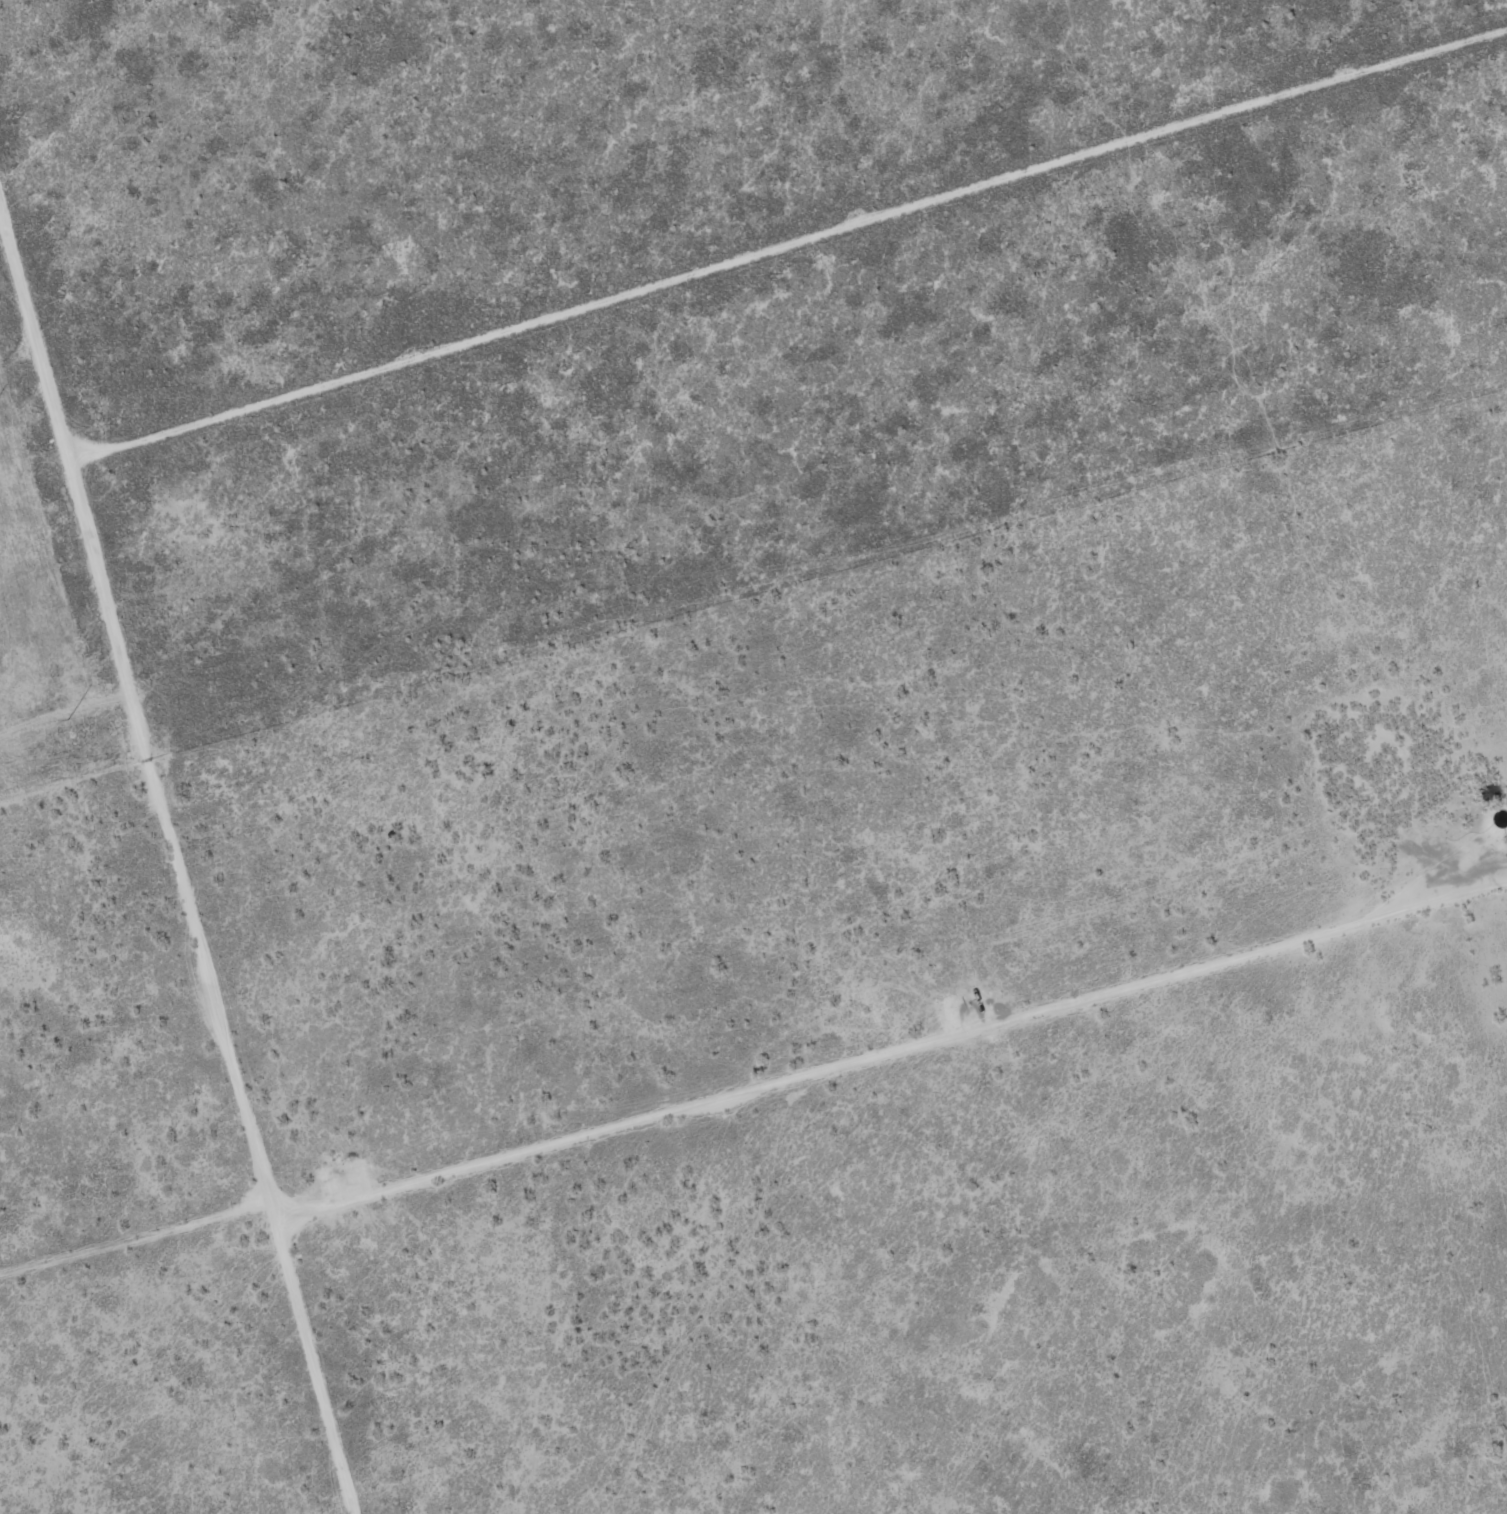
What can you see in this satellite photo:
road: (25, 354)
power tower: (70, 718)
road: (187, 836)
road: (754, 1100)

